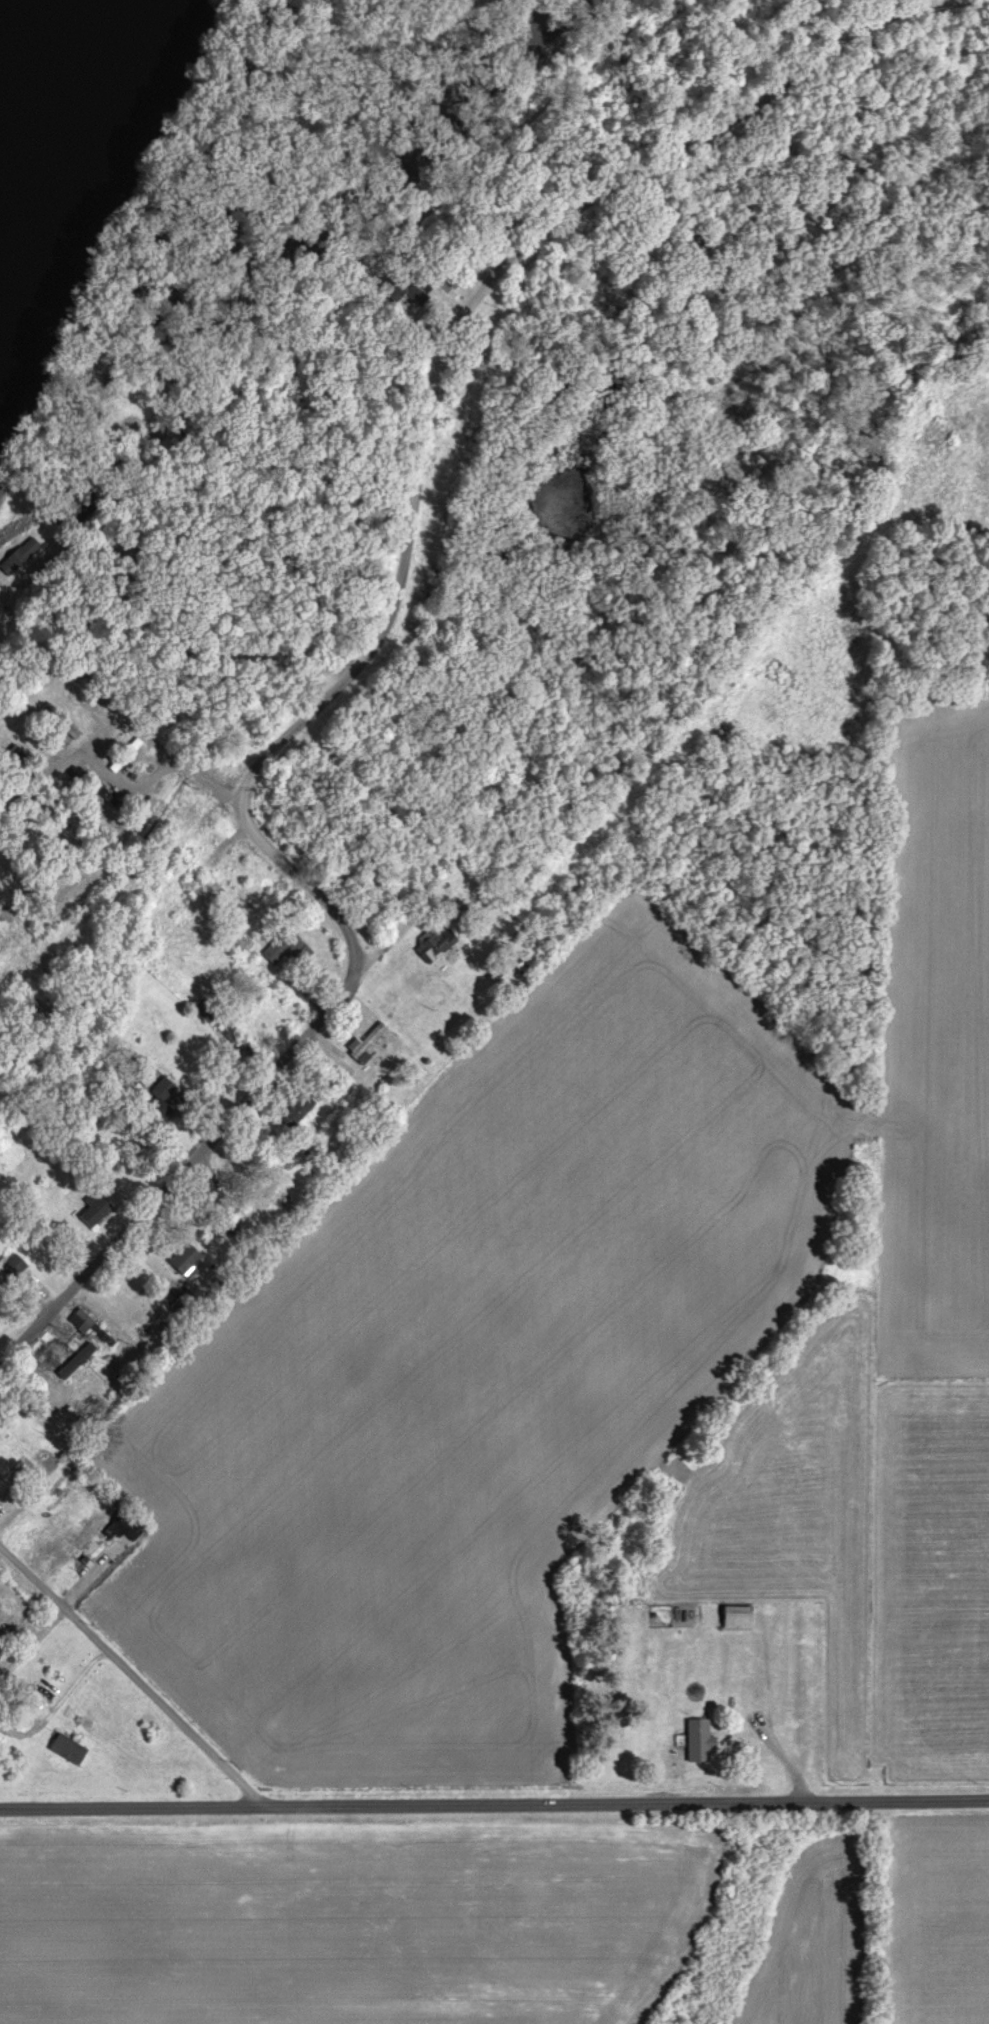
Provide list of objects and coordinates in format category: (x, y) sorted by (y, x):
river: (67, 153)
building: (410, 292)
road: (474, 296)
road: (51, 536)
building: (21, 558)
building: (0, 587)
road: (303, 879)
building: (437, 944)
building: (288, 951)
building: (367, 1045)
building: (166, 1094)
building: (299, 1112)
road: (183, 1172)
building: (186, 1260)
building: (14, 1269)
building: (82, 1323)
building: (54, 1360)
building: (128, 1529)
building: (739, 1619)
road: (33, 1643)
road: (132, 1675)
building: (699, 1740)
building: (70, 1751)
road: (494, 1804)

